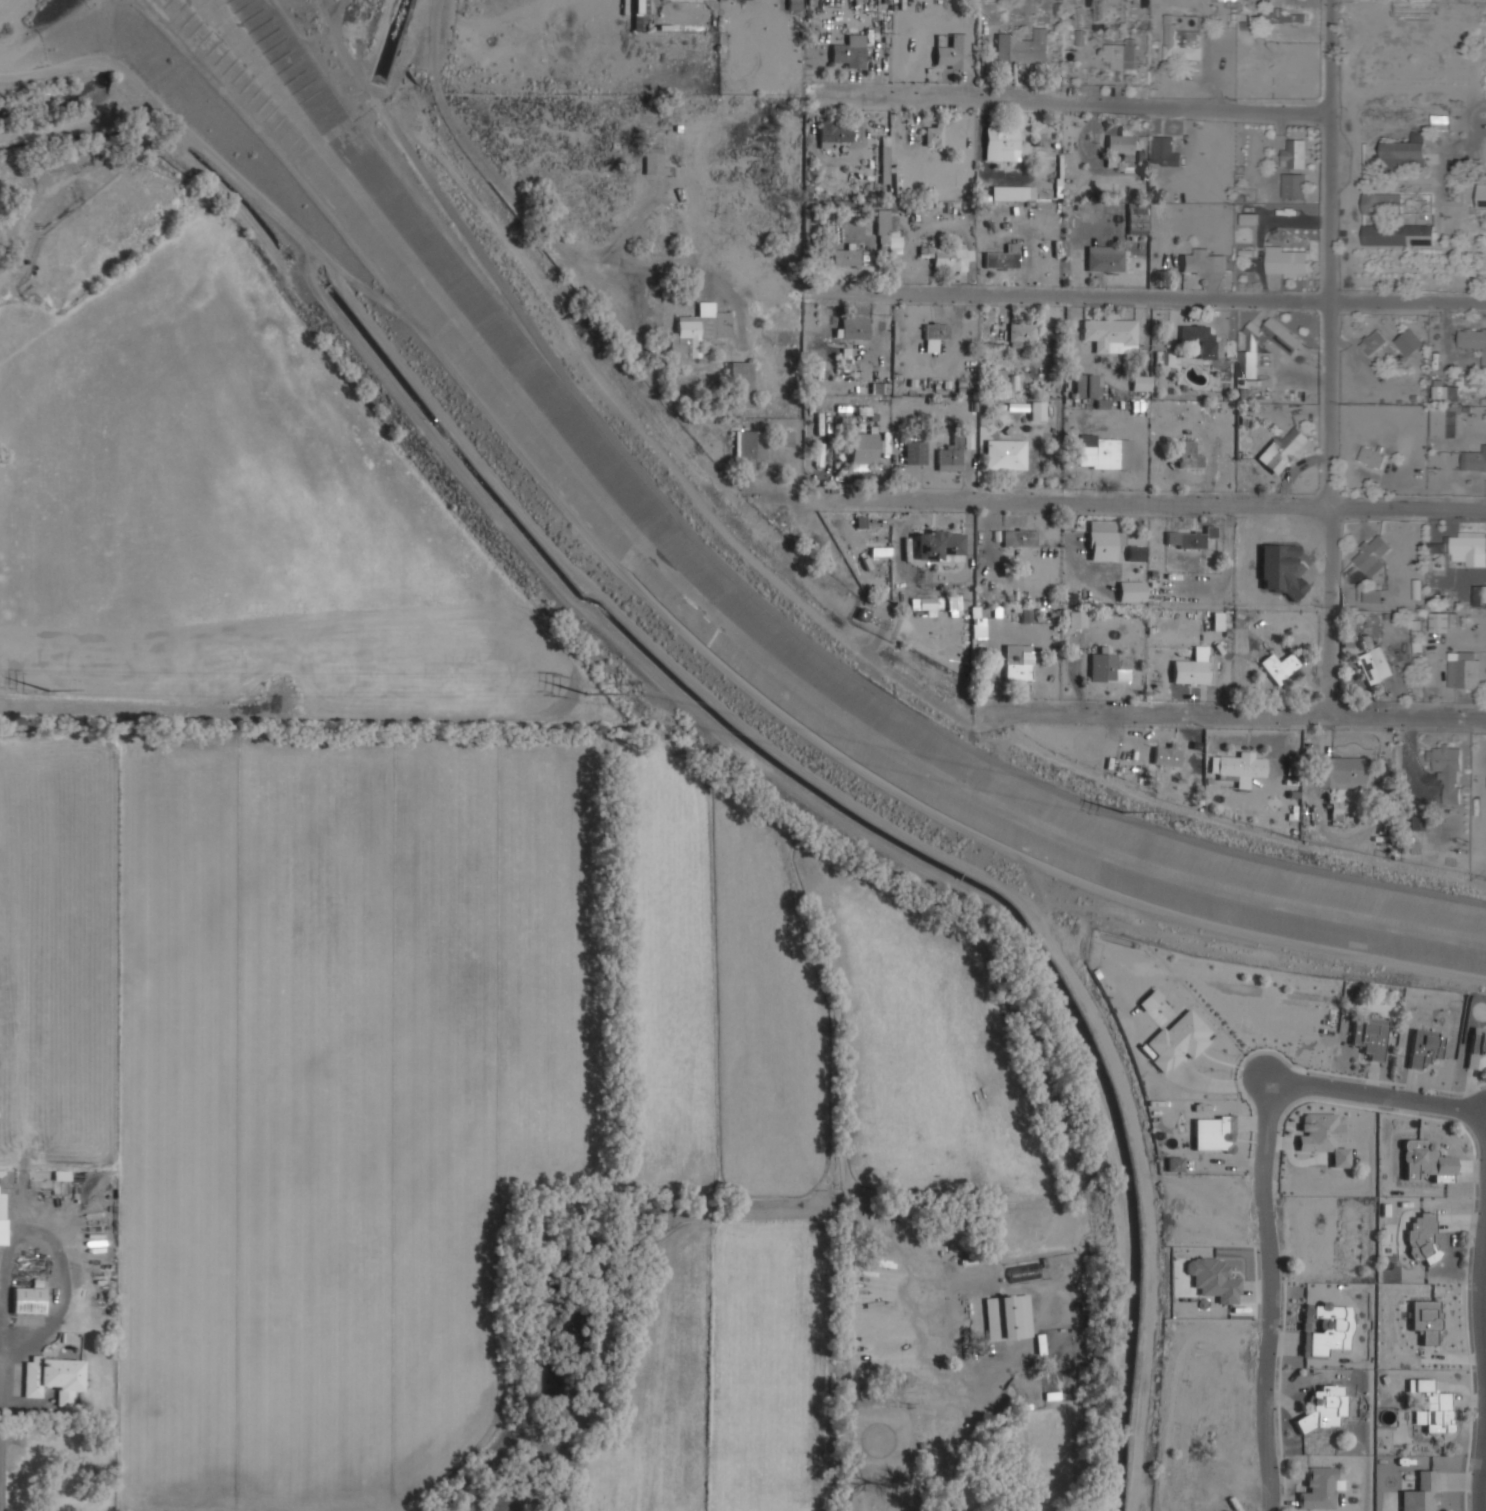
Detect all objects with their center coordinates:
road: (4, 4)
building: (793, 4)
road: (335, 6)
building: (1284, 16)
building: (639, 24)
building: (1181, 41)
building: (1023, 46)
building: (850, 51)
building: (953, 52)
building: (1122, 53)
road: (1070, 101)
building: (1441, 121)
building: (833, 132)
building: (934, 134)
building: (1001, 142)
building: (1122, 143)
building: (1165, 151)
building: (1406, 152)
building: (1294, 154)
building: (1112, 160)
building: (655, 161)
building: (885, 162)
building: (1294, 185)
building: (1009, 193)
building: (1482, 196)
building: (1382, 203)
building: (1138, 218)
building: (1249, 218)
road: (542, 227)
building: (889, 230)
building: (1399, 234)
building: (846, 257)
building: (946, 257)
building: (1004, 257)
building: (1105, 260)
building: (1204, 262)
building: (1287, 263)
road: (1150, 297)
building: (856, 327)
building: (698, 331)
building: (1021, 333)
building: (934, 334)
building: (1111, 335)
building: (780, 336)
building: (1199, 338)
building: (1472, 339)
building: (1409, 341)
building: (1374, 342)
building: (1289, 346)
road: (1336, 358)
building: (820, 365)
building: (1000, 375)
building: (1142, 382)
building: (740, 385)
building: (1089, 385)
building: (875, 387)
building: (1445, 392)
building: (1038, 411)
building: (1444, 422)
building: (786, 438)
building: (864, 450)
building: (1282, 450)
building: (748, 451)
building: (915, 452)
building: (1006, 454)
building: (1100, 454)
building: (1190, 454)
building: (951, 456)
building: (1372, 456)
building: (1477, 460)
road: (1150, 505)
building: (859, 521)
building: (1020, 537)
building: (1190, 537)
building: (1104, 540)
building: (1463, 542)
building: (939, 545)
building: (1440, 546)
building: (1136, 553)
building: (1373, 554)
building: (1133, 589)
building: (1373, 595)
building: (1480, 595)
building: (929, 605)
building: (1026, 616)
road: (778, 618)
building: (1077, 618)
building: (1440, 622)
building: (1416, 627)
building: (1280, 665)
building: (1374, 665)
building: (1103, 667)
building: (1192, 667)
building: (1019, 669)
building: (1464, 669)
power tower: (49, 692)
power tower: (590, 695)
road: (145, 709)
road: (1233, 714)
building: (1167, 754)
building: (1240, 767)
building: (1448, 771)
building: (1342, 772)
power tower: (1118, 810)
crop: (420, 964)
building: (1370, 1036)
building: (1180, 1039)
building: (1425, 1048)
building: (1477, 1049)
road: (1380, 1096)
building: (1320, 1132)
building: (1214, 1133)
building: (1425, 1161)
building: (1174, 1164)
building: (3, 1218)
building: (1422, 1237)
building: (1023, 1273)
building: (1214, 1278)
road: (1484, 1283)
road: (1271, 1295)
building: (30, 1298)
building: (1007, 1317)
building: (1425, 1320)
building: (1324, 1328)
road: (393, 1329)
building: (55, 1378)
building: (1422, 1385)
building: (941, 1406)
building: (1324, 1408)
building: (1437, 1413)
building: (884, 1447)
building: (1320, 1489)
road: (1484, 1493)
building: (1420, 1494)

